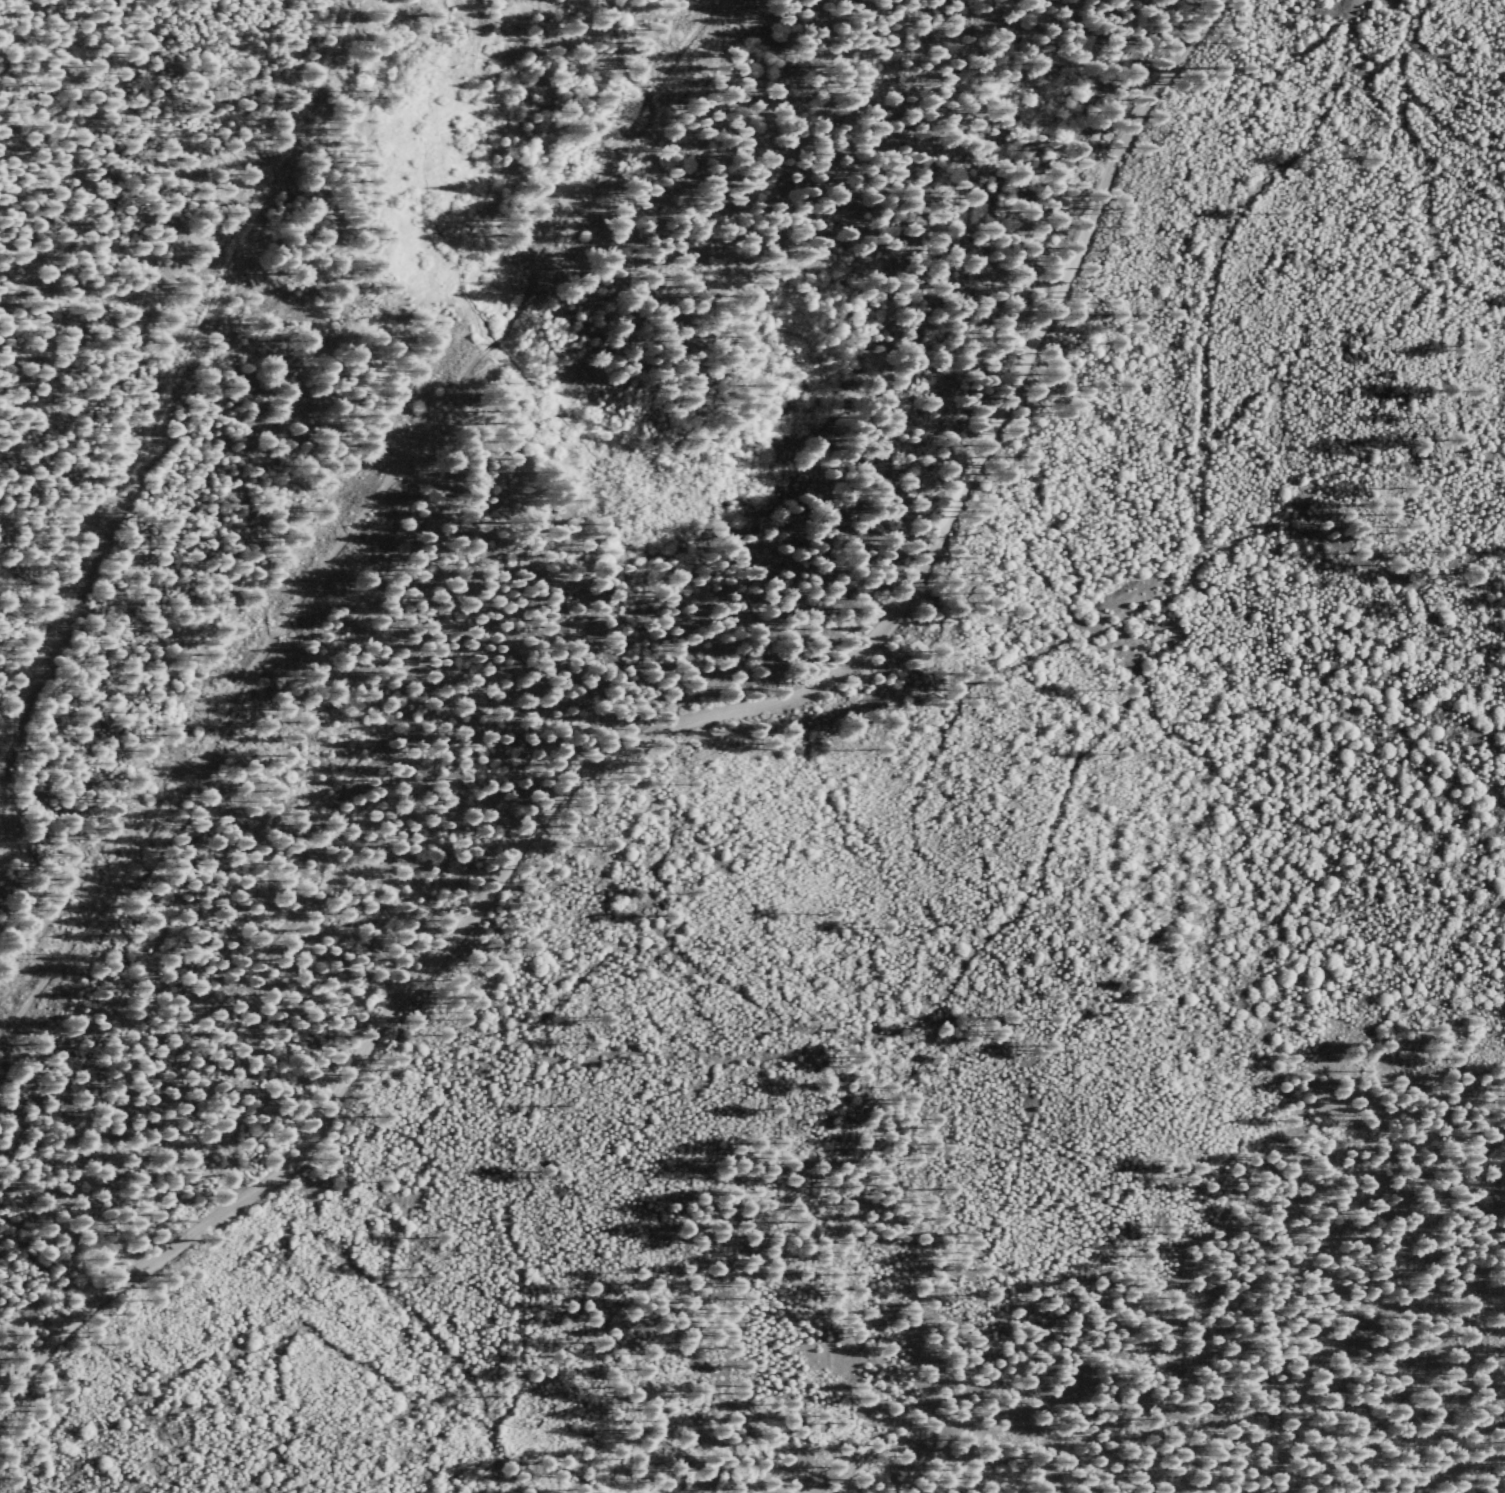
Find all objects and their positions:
road: (367, 523)
road: (910, 593)
power tower: (208, 724)
power tower: (50, 956)
road: (217, 1220)
road: (1449, 1472)

